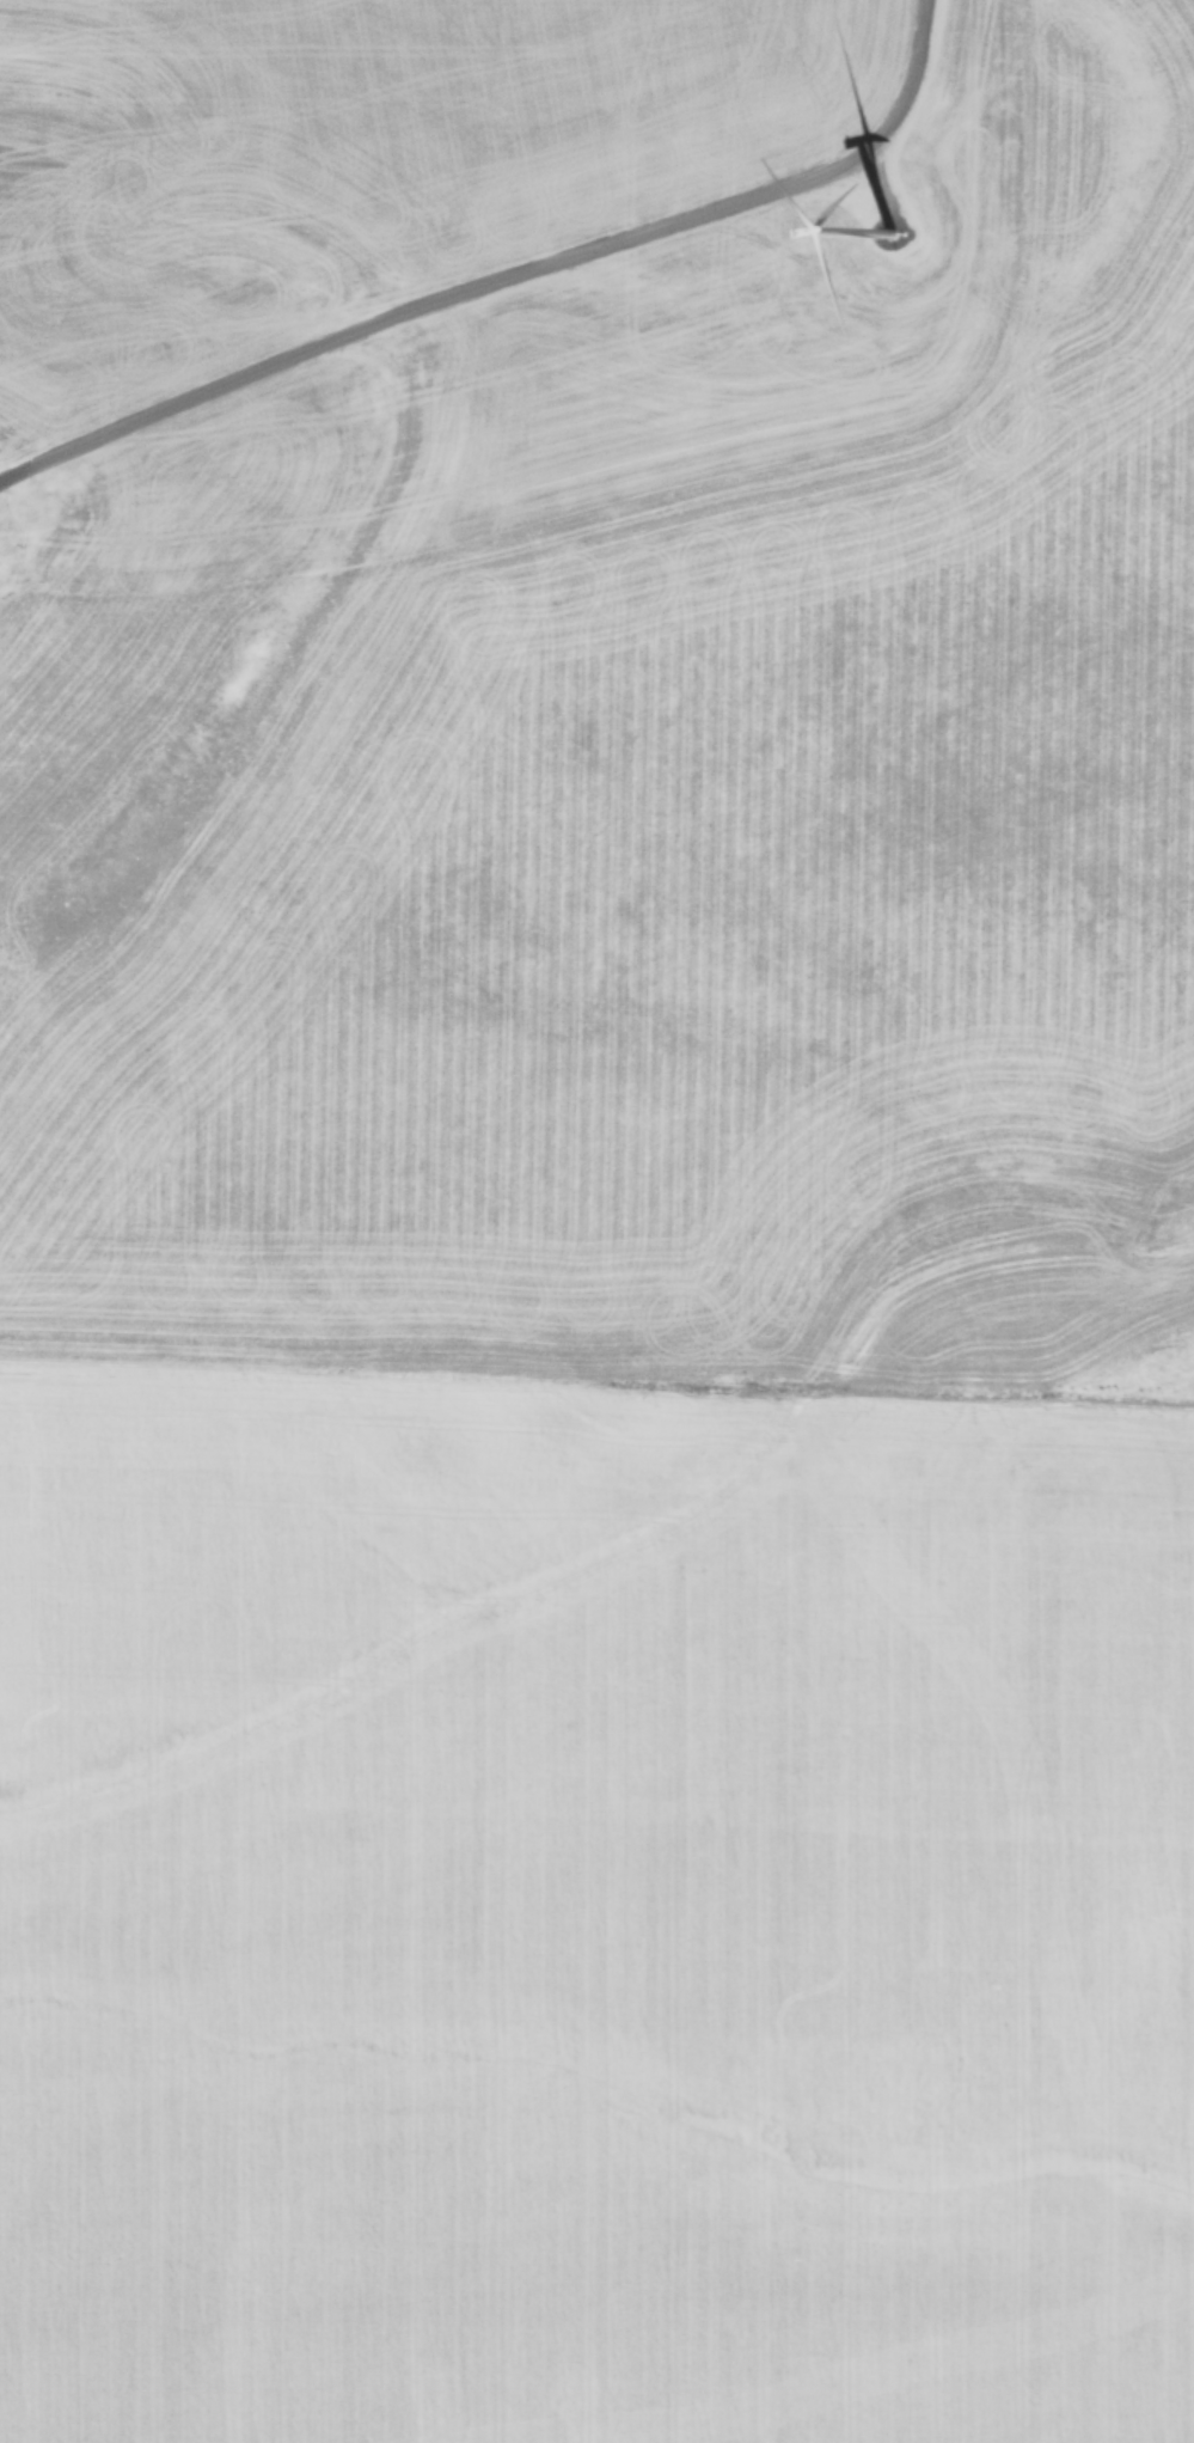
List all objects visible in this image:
wind turbine: (862, 242)

